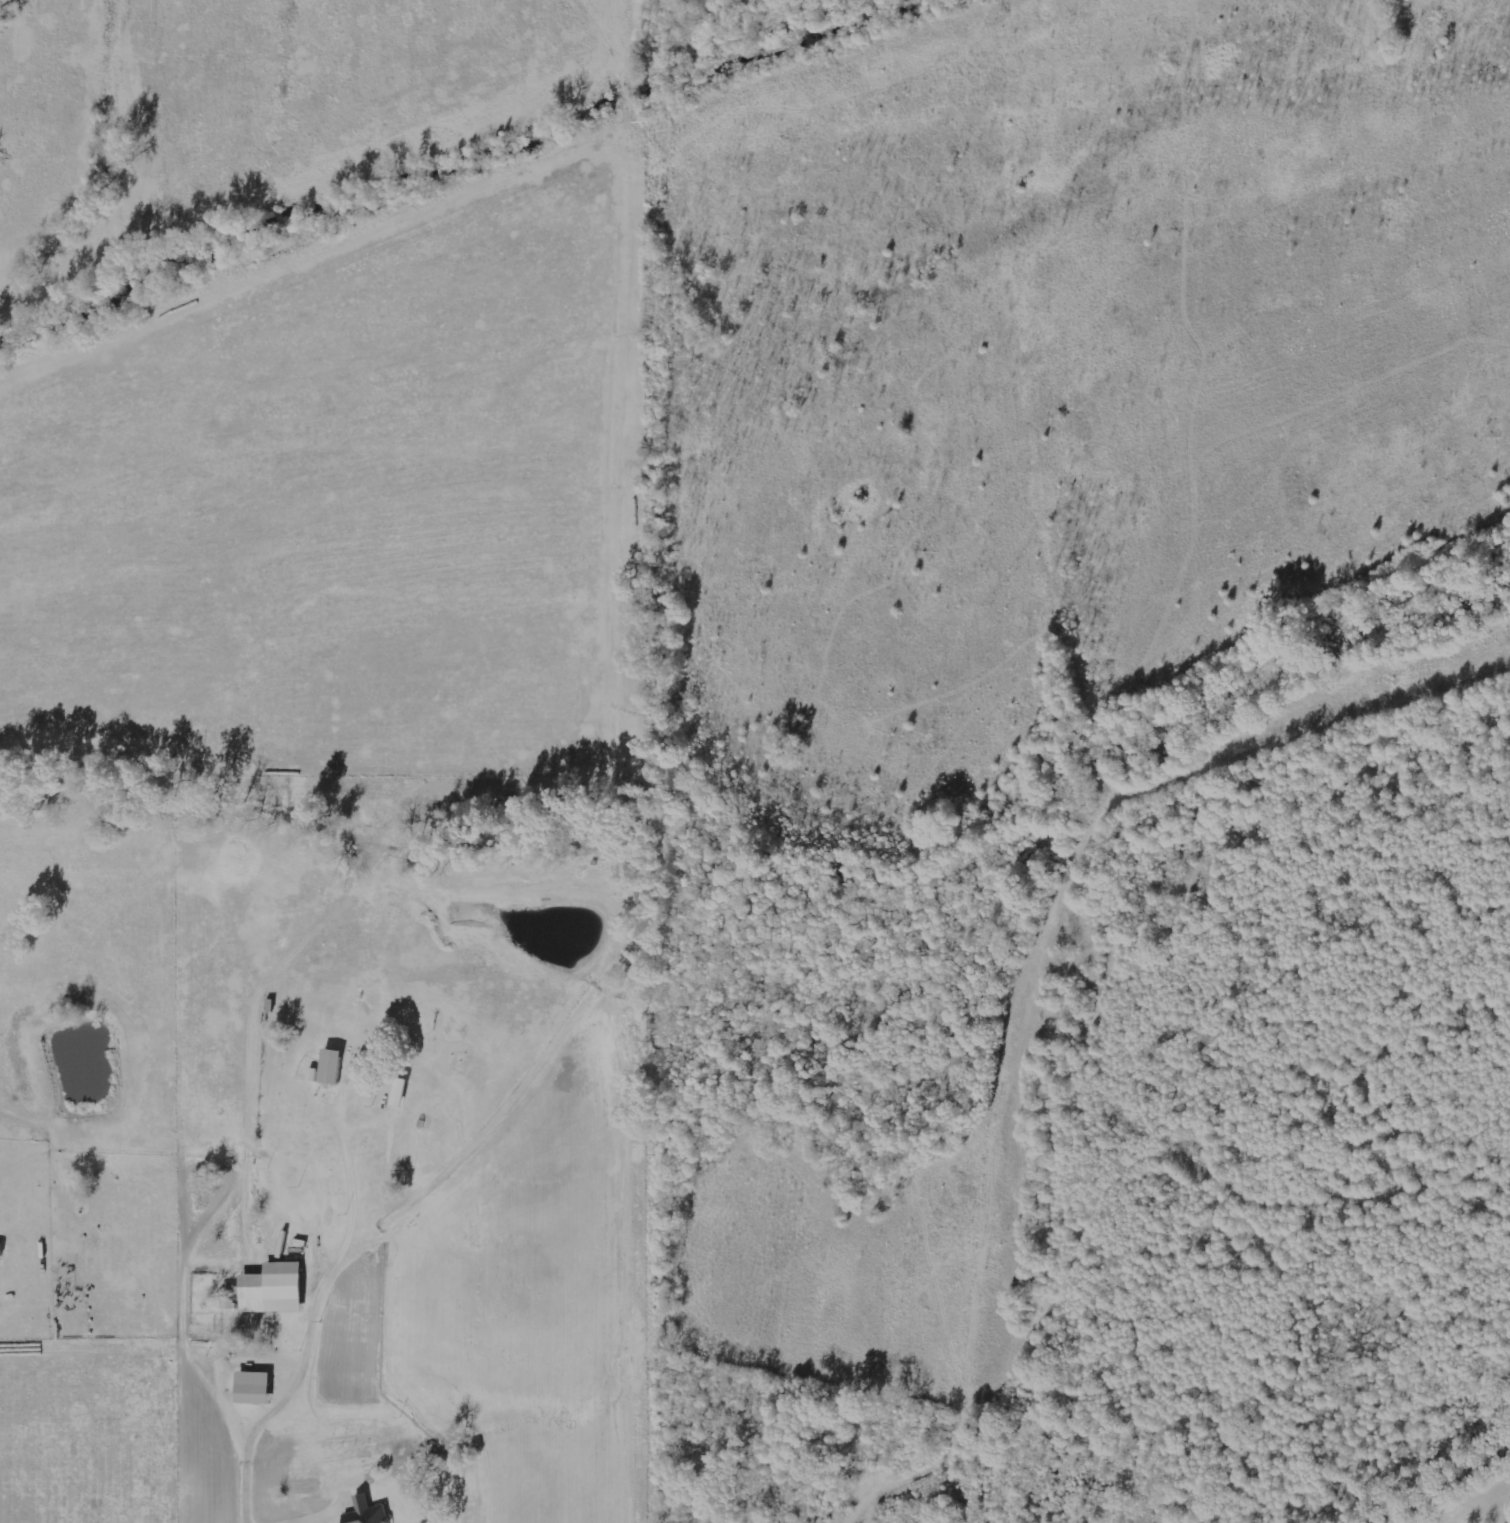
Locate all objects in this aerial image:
building: (331, 1065)
building: (272, 1288)
building: (253, 1386)
road: (250, 1478)
road: (1450, 1490)
building: (368, 1511)

